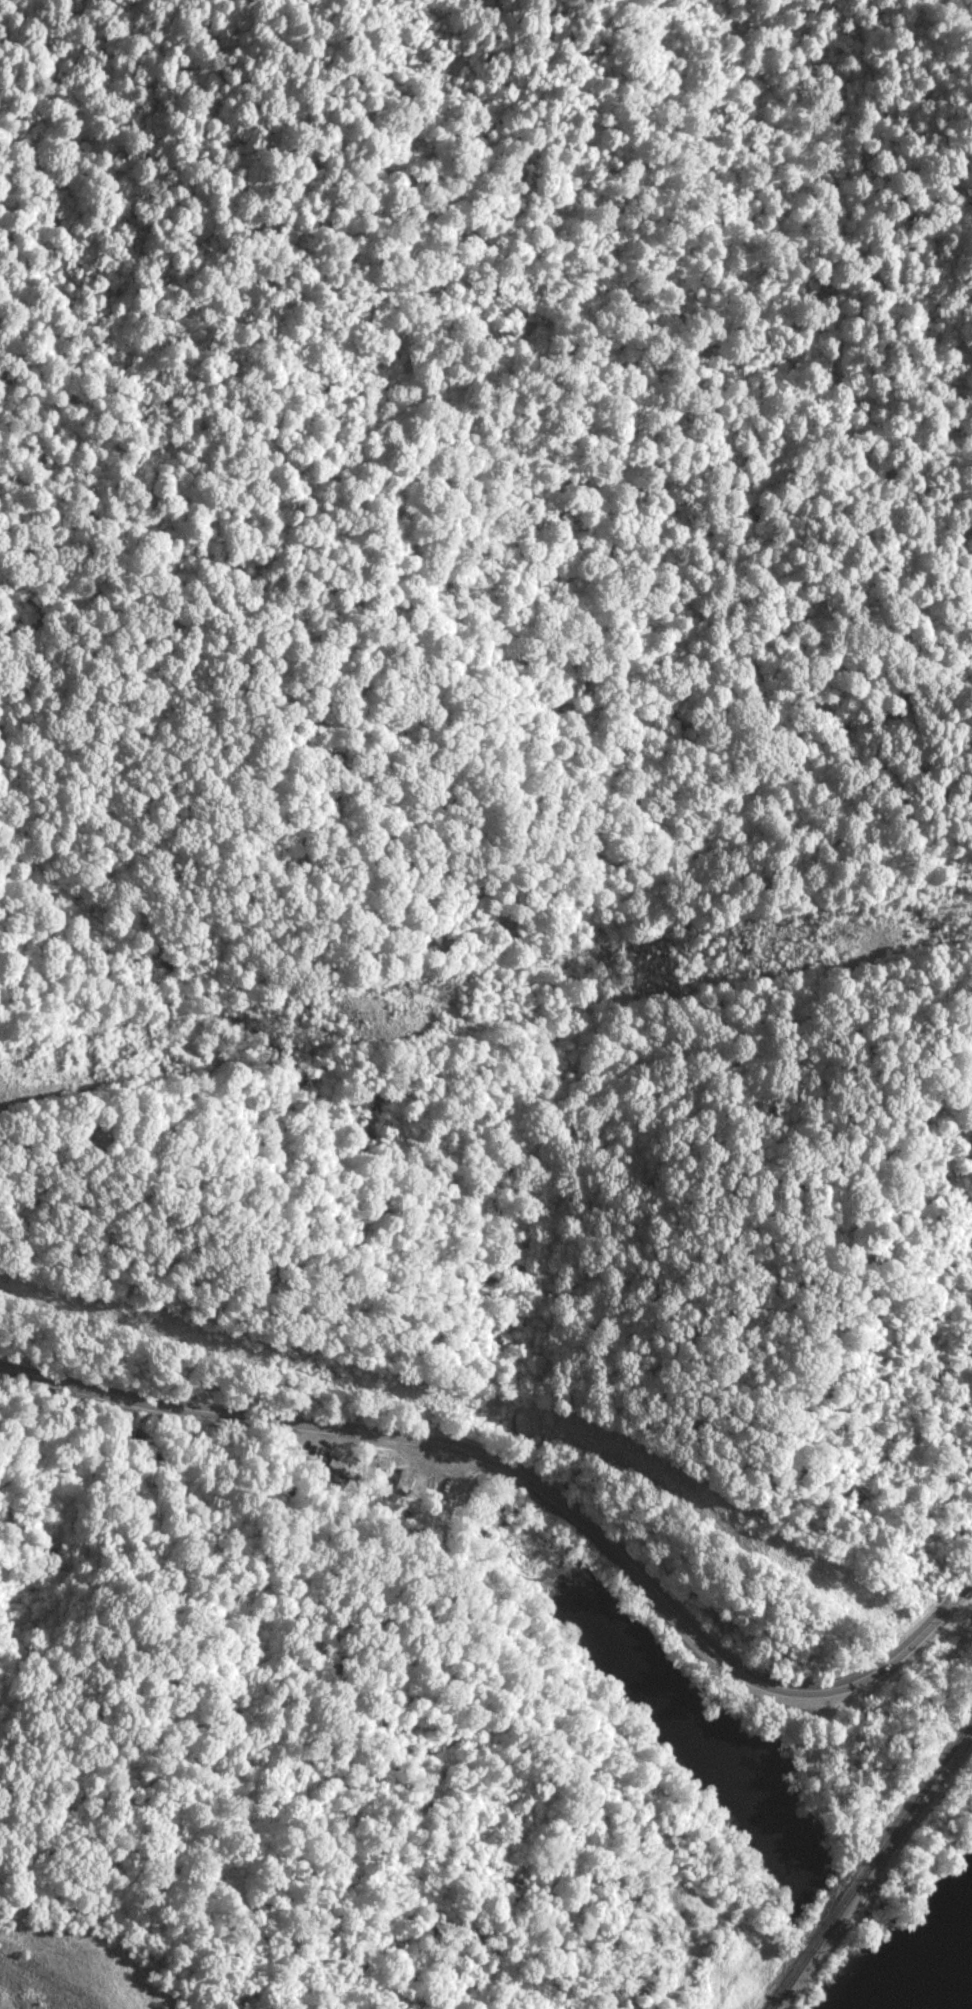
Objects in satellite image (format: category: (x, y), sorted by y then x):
road: (536, 1486)
railway: (871, 1865)

